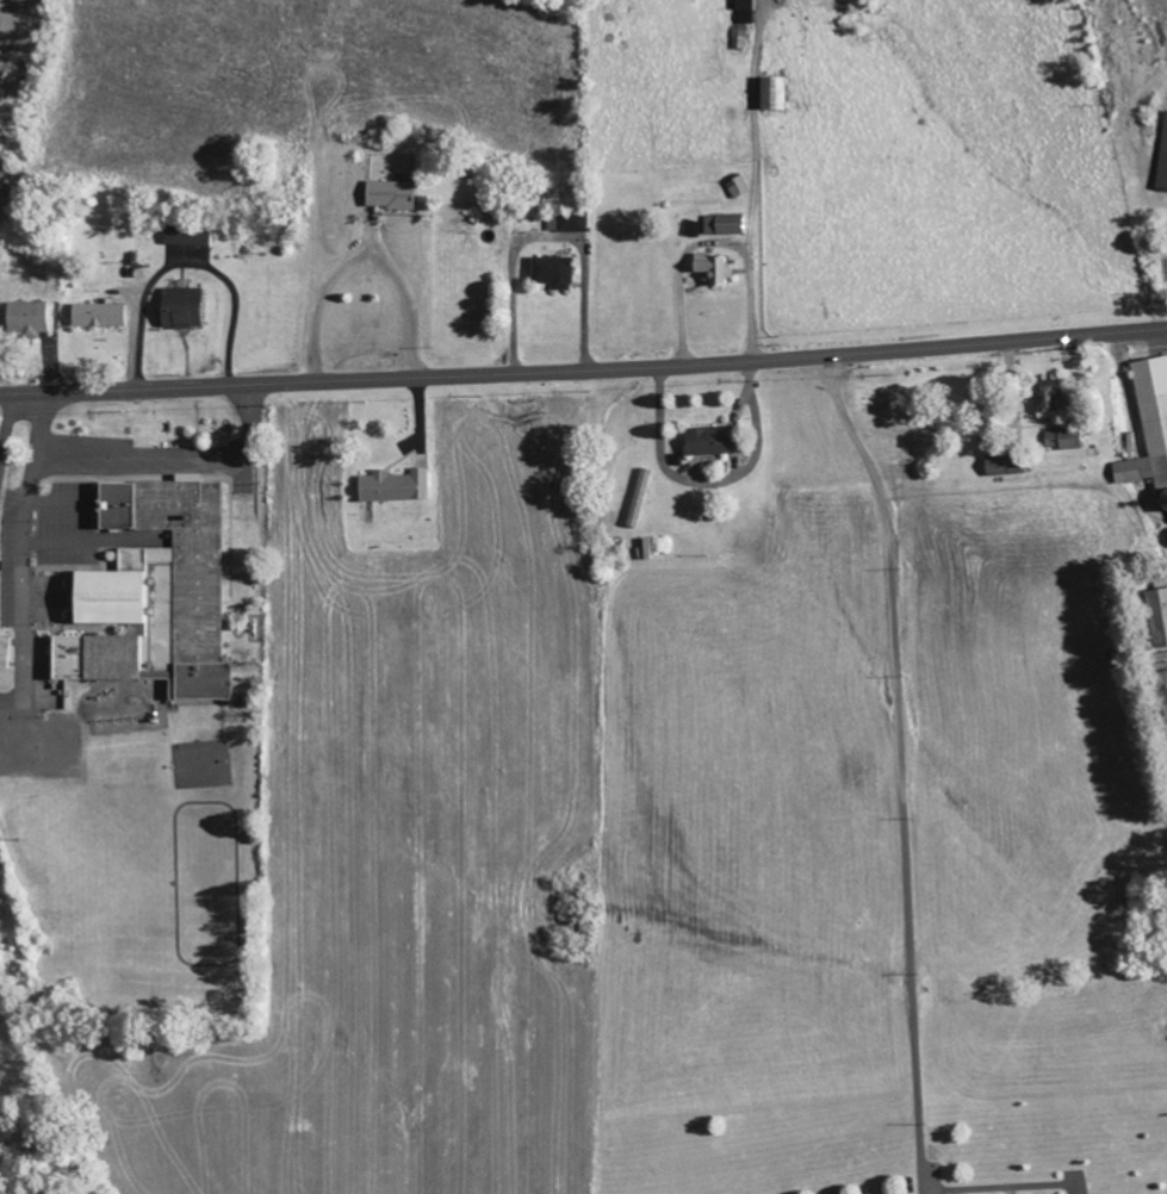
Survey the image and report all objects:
building: (745, 11)
building: (772, 92)
building: (1162, 161)
building: (391, 194)
building: (567, 222)
building: (725, 224)
building: (694, 228)
building: (187, 235)
building: (715, 268)
building: (553, 272)
building: (181, 307)
building: (99, 315)
building: (26, 318)
road: (583, 368)
building: (1048, 399)
building: (1149, 427)
building: (1063, 439)
building: (713, 441)
building: (1005, 465)
building: (395, 486)
building: (639, 497)
building: (155, 593)
building: (1159, 615)
building: (5, 652)
building: (1162, 680)

